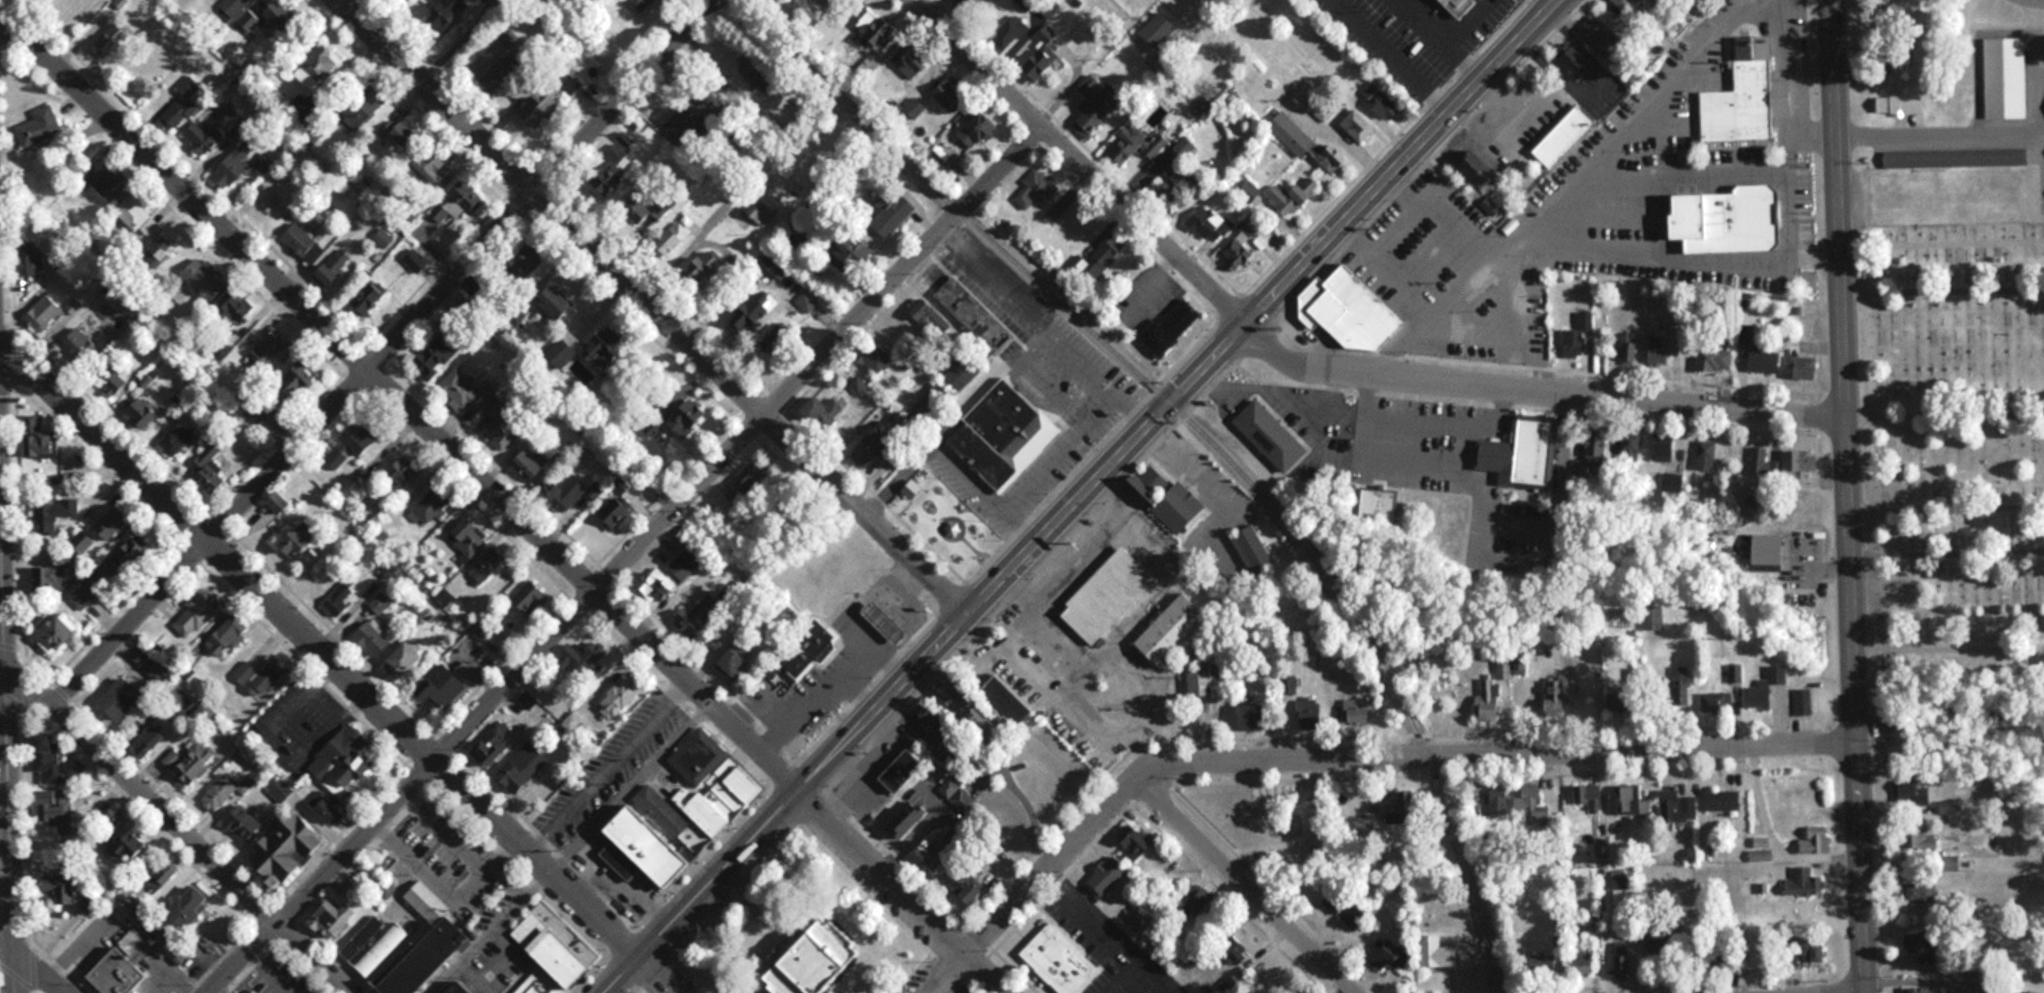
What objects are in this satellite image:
building: (1441, 0)
building: (641, 3)
building: (1626, 4)
building: (969, 5)
building: (234, 6)
building: (450, 10)
building: (282, 16)
building: (246, 19)
building: (1159, 28)
building: (882, 30)
building: (1600, 31)
building: (1011, 34)
building: (112, 39)
building: (1044, 53)
building: (912, 60)
building: (1577, 62)
building: (326, 63)
building: (500, 73)
building: (751, 75)
building: (952, 94)
building: (1747, 96)
building: (1381, 101)
building: (365, 103)
building: (1096, 104)
building: (1899, 104)
building: (182, 105)
building: (541, 107)
building: (915, 107)
building: (41, 126)
building: (1358, 126)
road: (1938, 126)
building: (978, 129)
building: (399, 133)
building: (204, 137)
building: (1564, 138)
building: (1306, 143)
building: (1136, 146)
building: (942, 154)
road: (1084, 158)
building: (1956, 158)
road: (1391, 161)
building: (436, 164)
building: (1477, 168)
building: (232, 170)
building: (611, 172)
building: (109, 181)
building: (1177, 186)
building: (1036, 188)
building: (467, 195)
building: (1291, 198)
building: (638, 209)
building: (761, 210)
building: (892, 211)
building: (138, 216)
building: (1729, 220)
building: (1074, 223)
building: (1209, 223)
building: (801, 230)
building: (672, 238)
building: (303, 242)
building: (1239, 249)
road: (1607, 249)
building: (169, 250)
park: (1948, 253)
building: (865, 254)
building: (1103, 255)
building: (31, 259)
building: (526, 259)
building: (706, 267)
building: (333, 269)
building: (203, 280)
road: (1942, 280)
building: (371, 297)
building: (238, 305)
building: (557, 305)
road: (651, 306)
building: (1351, 310)
building: (923, 311)
building: (756, 312)
building: (42, 313)
building: (975, 314)
building: (1172, 328)
road: (1040, 330)
building: (1577, 336)
building: (79, 344)
building: (605, 347)
building: (1629, 350)
building: (1658, 350)
building: (271, 351)
road: (378, 352)
road: (1079, 352)
building: (438, 354)
building: (1716, 358)
building: (885, 359)
building: (1764, 360)
building: (1804, 367)
building: (963, 372)
building: (300, 380)
building: (112, 383)
road: (1535, 389)
building: (471, 394)
building: (937, 400)
road: (400, 402)
road: (1944, 408)
building: (824, 411)
building: (259, 413)
building: (140, 415)
building: (687, 422)
building: (502, 432)
building: (1004, 434)
building: (1272, 435)
road: (1060, 436)
railway: (1203, 437)
building: (360, 438)
building: (176, 439)
building: (41, 444)
building: (1596, 445)
building: (874, 448)
building: (1630, 449)
building: (1664, 449)
building: (1521, 455)
building: (1706, 455)
building: (337, 458)
building: (1805, 460)
building: (1758, 462)
building: (532, 466)
building: (208, 468)
building: (402, 472)
road: (974, 472)
building: (1673, 486)
building: (748, 487)
building: (573, 492)
road: (1945, 495)
road: (1846, 496)
building: (1167, 500)
building: (279, 502)
park: (1955, 503)
building: (433, 504)
building: (1380, 505)
building: (617, 511)
building: (55, 513)
building: (111, 523)
park: (939, 526)
building: (384, 529)
building: (468, 537)
building: (301, 540)
road: (1947, 543)
building: (1254, 550)
building: (1769, 552)
road: (627, 555)
building: (128, 557)
building: (686, 563)
building: (487, 565)
building: (656, 585)
building: (90, 589)
building: (1109, 596)
building: (531, 597)
building: (448, 601)
building: (707, 610)
building: (197, 613)
building: (885, 621)
building: (1172, 629)
building: (61, 632)
building: (227, 635)
building: (372, 638)
road: (1950, 644)
road: (320, 650)
building: (807, 651)
building: (584, 657)
road: (922, 657)
building: (404, 660)
building: (735, 661)
building: (152, 664)
building: (1504, 668)
building: (1680, 674)
building: (259, 677)
building: (1632, 679)
building: (1200, 682)
building: (1767, 687)
building: (446, 689)
building: (620, 696)
building: (954, 698)
building: (1556, 698)
building: (121, 699)
road: (8, 700)
building: (1487, 701)
building: (1008, 702)
building: (1621, 702)
building: (1713, 702)
building: (1803, 702)
building: (1360, 711)
building: (1258, 715)
building: (936, 723)
building: (148, 741)
building: (493, 745)
road: (1343, 757)
building: (54, 761)
building: (190, 763)
building: (350, 765)
building: (524, 767)
building: (904, 768)
building: (950, 787)
building: (224, 792)
building: (1910, 796)
building: (1589, 797)
building: (1498, 800)
building: (1530, 800)
building: (1723, 800)
building: (1631, 801)
building: (1677, 807)
building: (327, 808)
building: (53, 810)
building: (683, 814)
building: (908, 818)
building: (243, 822)
road: (178, 824)
building: (1817, 841)
building: (1135, 842)
building: (943, 848)
building: (127, 850)
building: (288, 850)
building: (1111, 865)
building: (1803, 879)
building: (966, 885)
road: (1249, 885)
building: (386, 888)
building: (59, 889)
road: (899, 891)
building: (1920, 892)
building: (149, 898)
building: (1333, 902)
building: (1198, 904)
building: (189, 909)
building: (1139, 917)
building: (330, 919)
building: (558, 945)
building: (409, 946)
building: (1926, 946)
building: (1810, 950)
building: (1386, 952)
building: (1438, 953)
building: (1584, 956)
building: (816, 960)
building: (1060, 961)
building: (1621, 961)
building: (1551, 963)
road: (33, 964)
building: (119, 967)
road: (657, 975)
building: (541, 984)
building: (1228, 985)
building: (466, 989)
building: (1297, 990)
building: (1923, 990)
building: (2032, 992)

